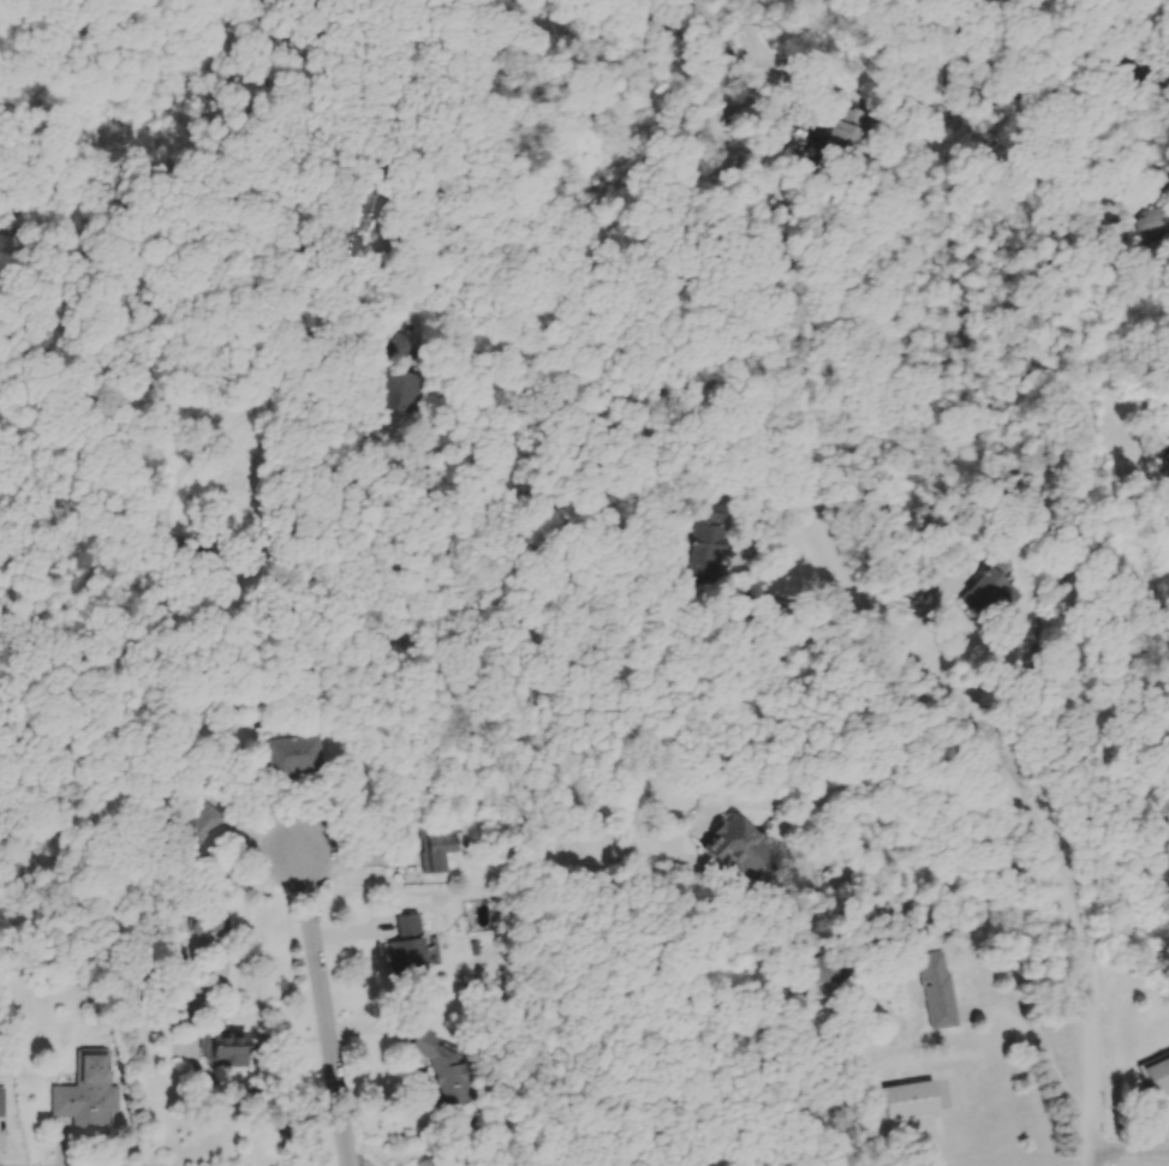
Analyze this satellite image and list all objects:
road: (455, 149)
building: (410, 391)
building: (717, 545)
road: (834, 552)
building: (219, 555)
building: (995, 598)
road: (797, 608)
building: (298, 758)
road: (896, 781)
building: (203, 830)
building: (744, 848)
building: (440, 849)
building: (210, 922)
building: (411, 950)
building: (829, 971)
building: (942, 992)
road: (324, 1010)
building: (232, 1051)
building: (452, 1074)
building: (1159, 1077)
building: (89, 1096)
building: (912, 1102)
building: (2, 1104)
road: (1131, 1152)
road: (1093, 1158)
building: (434, 1164)

